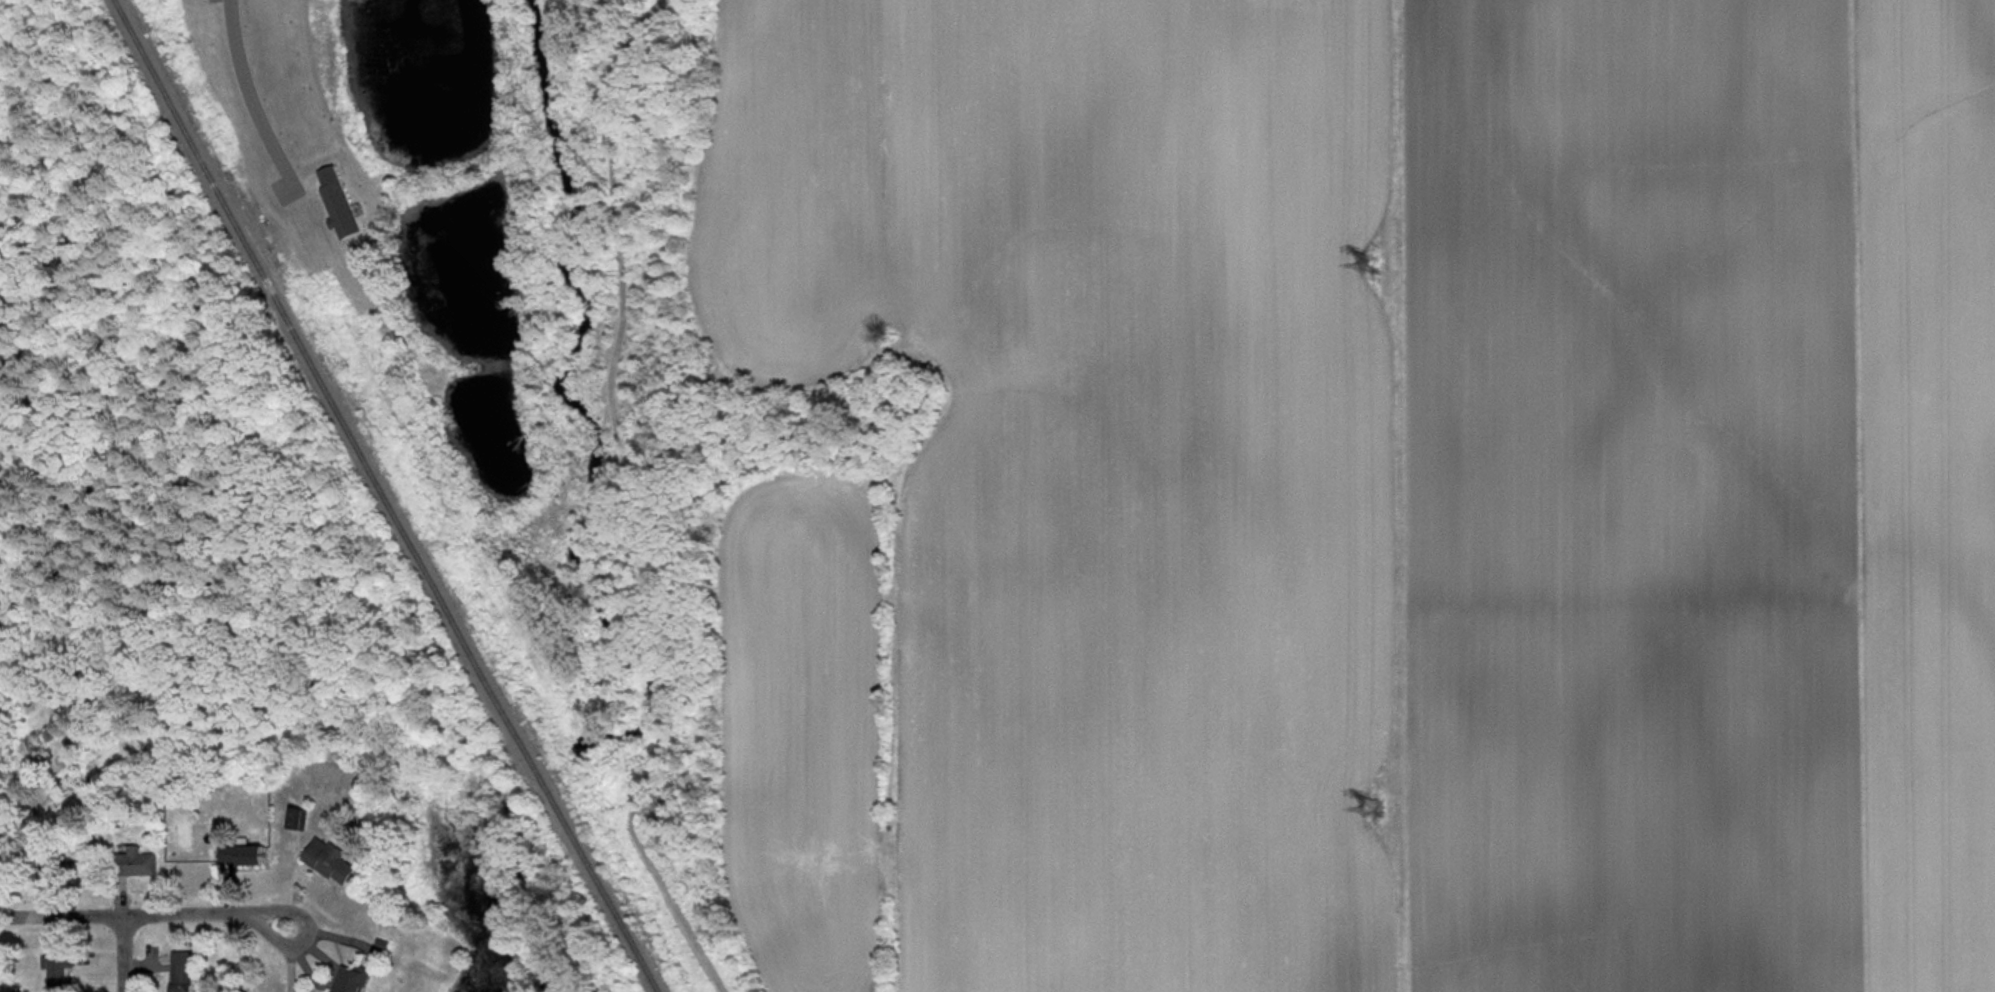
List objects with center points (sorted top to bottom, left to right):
road: (252, 97)
building: (336, 204)
power tower: (1370, 265)
railway: (384, 496)
road: (627, 501)
power tower: (1373, 809)
building: (239, 855)
building: (328, 860)
building: (134, 863)
building: (68, 864)
road: (205, 912)
road: (123, 953)
building: (59, 971)
building: (180, 972)
building: (346, 979)

